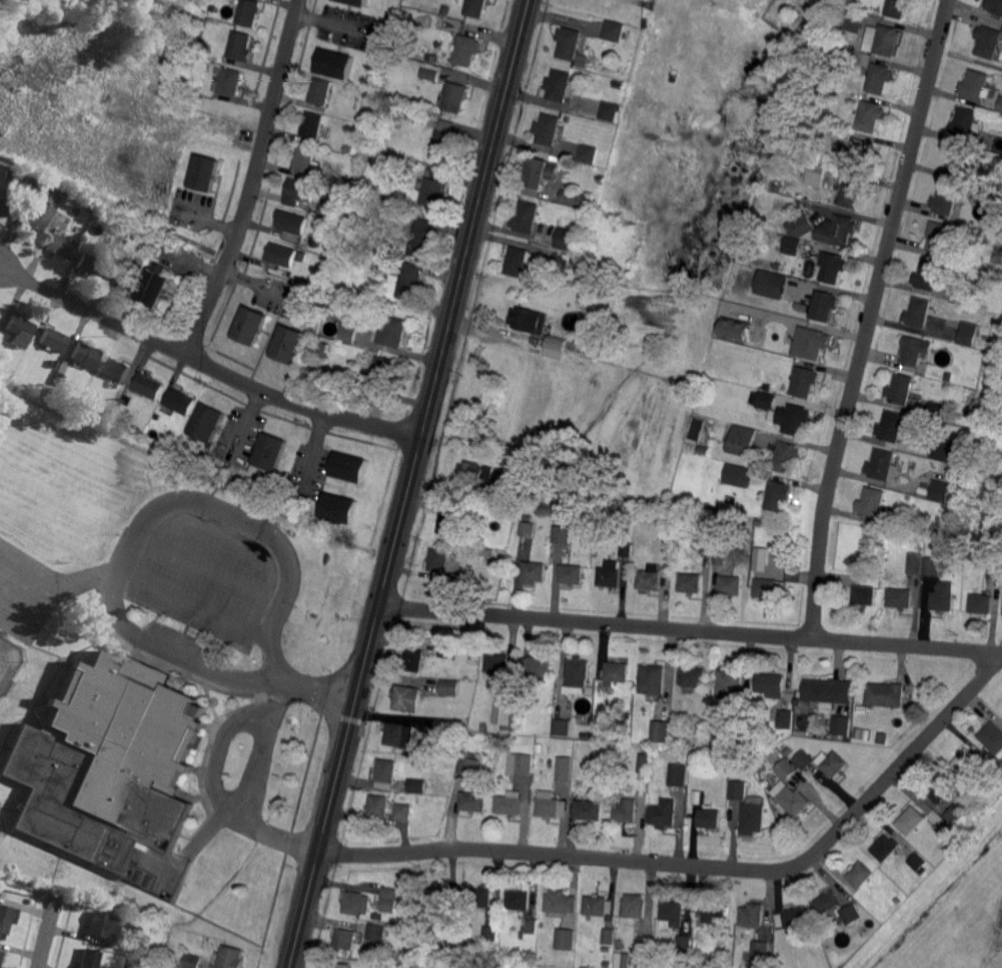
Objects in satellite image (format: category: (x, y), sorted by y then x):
building: (358, 2)
building: (995, 6)
building: (477, 8)
building: (898, 8)
building: (214, 9)
building: (249, 13)
building: (854, 20)
building: (615, 30)
building: (209, 33)
building: (814, 34)
building: (887, 40)
building: (989, 41)
building: (570, 43)
building: (241, 46)
building: (468, 50)
building: (435, 58)
building: (845, 58)
building: (583, 61)
building: (337, 63)
building: (424, 70)
building: (880, 78)
building: (230, 82)
building: (620, 84)
building: (559, 85)
building: (975, 85)
building: (192, 89)
building: (322, 91)
building: (456, 96)
building: (1000, 105)
building: (611, 110)
building: (871, 115)
building: (420, 121)
building: (965, 122)
building: (313, 125)
building: (548, 128)
building: (328, 143)
building: (444, 145)
building: (981, 146)
building: (840, 148)
building: (589, 152)
building: (862, 153)
building: (825, 157)
building: (305, 158)
building: (958, 160)
building: (438, 170)
building: (397, 171)
building: (2, 172)
building: (541, 172)
building: (206, 173)
building: (816, 174)
building: (10, 176)
building: (324, 178)
building: (602, 178)
road: (252, 181)
road: (484, 184)
building: (27, 187)
building: (300, 191)
building: (10, 192)
building: (433, 192)
building: (853, 192)
building: (578, 199)
building: (758, 200)
building: (946, 200)
building: (357, 202)
building: (3, 208)
building: (64, 208)
building: (595, 208)
building: (325, 209)
building: (99, 214)
road: (206, 215)
building: (776, 215)
building: (527, 216)
building: (105, 218)
building: (29, 219)
building: (291, 221)
building: (801, 224)
building: (117, 226)
building: (838, 230)
building: (99, 231)
building: (939, 236)
building: (422, 237)
building: (572, 239)
building: (123, 243)
building: (170, 244)
building: (793, 245)
building: (59, 246)
building: (143, 247)
building: (359, 250)
building: (370, 252)
building: (281, 254)
building: (301, 257)
building: (575, 258)
building: (562, 259)
building: (519, 260)
building: (90, 265)
building: (778, 266)
building: (833, 266)
building: (928, 274)
building: (122, 281)
building: (411, 281)
building: (771, 283)
road: (256, 285)
building: (154, 286)
building: (310, 286)
building: (962, 294)
building: (824, 305)
building: (336, 307)
building: (983, 308)
building: (919, 312)
road: (870, 317)
building: (530, 320)
building: (776, 322)
building: (249, 327)
building: (734, 329)
building: (19, 330)
building: (348, 332)
building: (392, 332)
building: (968, 333)
building: (52, 340)
building: (288, 343)
building: (814, 343)
building: (555, 347)
building: (323, 348)
building: (913, 350)
building: (85, 356)
building: (54, 364)
road: (206, 365)
building: (113, 370)
building: (382, 372)
building: (949, 377)
building: (59, 379)
building: (805, 381)
building: (148, 386)
building: (768, 386)
building: (329, 387)
building: (901, 388)
building: (126, 399)
building: (764, 399)
building: (179, 402)
building: (115, 403)
building: (938, 410)
building: (156, 416)
building: (791, 418)
building: (207, 424)
building: (892, 426)
building: (743, 441)
building: (702, 449)
building: (947, 449)
building: (270, 451)
road: (418, 451)
building: (787, 457)
building: (881, 465)
building: (349, 466)
building: (953, 469)
building: (479, 472)
building: (739, 476)
building: (517, 490)
building: (941, 491)
building: (777, 495)
building: (872, 502)
building: (337, 507)
building: (544, 510)
road: (148, 513)
building: (449, 518)
building: (666, 518)
building: (760, 522)
road: (206, 524)
building: (528, 527)
building: (682, 531)
building: (934, 532)
building: (561, 535)
building: (587, 541)
building: (625, 548)
building: (467, 551)
building: (719, 557)
building: (759, 558)
building: (439, 560)
building: (915, 563)
building: (933, 565)
road: (209, 567)
building: (994, 569)
building: (860, 571)
building: (533, 572)
building: (570, 573)
building: (610, 574)
building: (649, 580)
building: (877, 581)
building: (690, 582)
building: (730, 585)
building: (765, 588)
building: (864, 595)
building: (943, 596)
building: (899, 597)
building: (981, 604)
road: (202, 607)
road: (256, 610)
road: (370, 628)
road: (689, 629)
building: (449, 649)
building: (414, 659)
building: (497, 662)
building: (536, 668)
building: (577, 671)
building: (617, 671)
building: (694, 676)
building: (653, 679)
building: (730, 684)
building: (771, 684)
building: (450, 687)
road: (320, 691)
building: (823, 691)
building: (886, 694)
building: (408, 698)
road: (277, 701)
building: (505, 707)
building: (520, 710)
building: (744, 714)
building: (785, 718)
building: (841, 724)
building: (561, 725)
building: (445, 726)
building: (659, 730)
building: (400, 734)
building: (585, 735)
building: (625, 735)
building: (992, 736)
building: (883, 738)
building: (700, 741)
building: (540, 745)
road: (222, 748)
building: (787, 749)
building: (702, 754)
building: (803, 759)
building: (966, 761)
building: (106, 762)
building: (521, 763)
building: (644, 763)
building: (834, 764)
building: (469, 765)
road: (257, 766)
building: (763, 767)
building: (786, 768)
building: (564, 769)
building: (606, 772)
building: (386, 773)
building: (678, 773)
building: (417, 786)
building: (737, 788)
building: (940, 789)
building: (793, 799)
building: (474, 801)
building: (510, 802)
building: (551, 805)
building: (378, 806)
building: (590, 809)
building: (626, 810)
building: (403, 811)
building: (663, 811)
building: (955, 814)
building: (752, 817)
building: (710, 818)
building: (912, 819)
road: (268, 829)
road: (208, 830)
building: (950, 835)
road: (316, 846)
building: (886, 848)
building: (918, 861)
road: (702, 866)
building: (860, 874)
building: (481, 897)
building: (388, 898)
building: (439, 899)
building: (519, 899)
building: (898, 899)
building: (561, 901)
building: (357, 903)
building: (828, 903)
building: (599, 907)
building: (634, 910)
building: (674, 912)
building: (716, 913)
building: (852, 914)
building: (753, 915)
building: (378, 916)
building: (796, 917)
building: (5, 918)
building: (531, 924)
building: (103, 925)
road: (46, 931)
building: (377, 931)
building: (491, 933)
building: (522, 935)
building: (609, 936)
building: (345, 938)
building: (566, 938)
building: (619, 943)
building: (684, 943)
building: (121, 948)
building: (761, 950)
building: (645, 952)
building: (1, 956)
building: (232, 957)
building: (89, 958)
building: (684, 959)
building: (622, 960)
building: (779, 960)
building: (193, 961)
building: (135, 964)
building: (607, 964)
building: (342, 965)
building: (396, 965)

